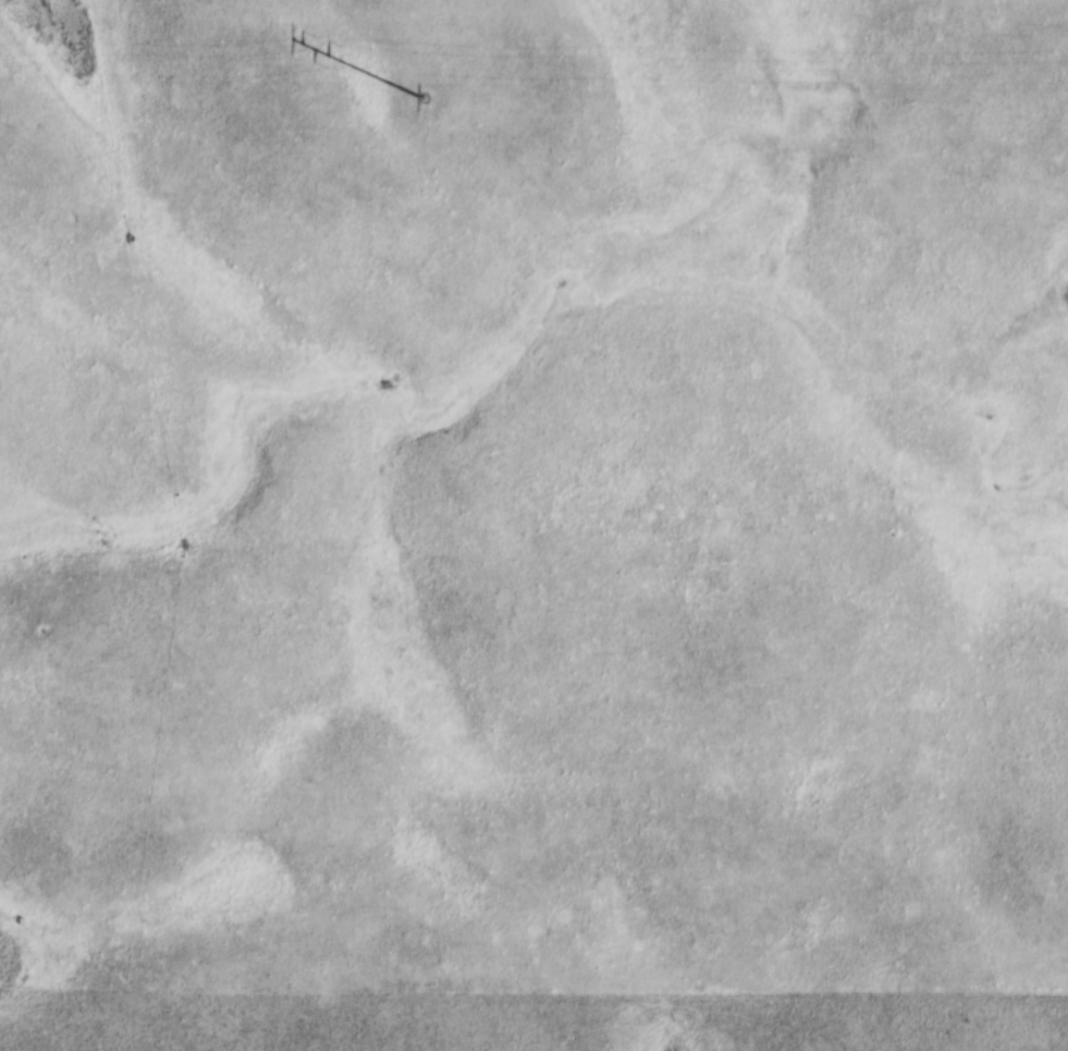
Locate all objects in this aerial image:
power tower: (423, 97)

